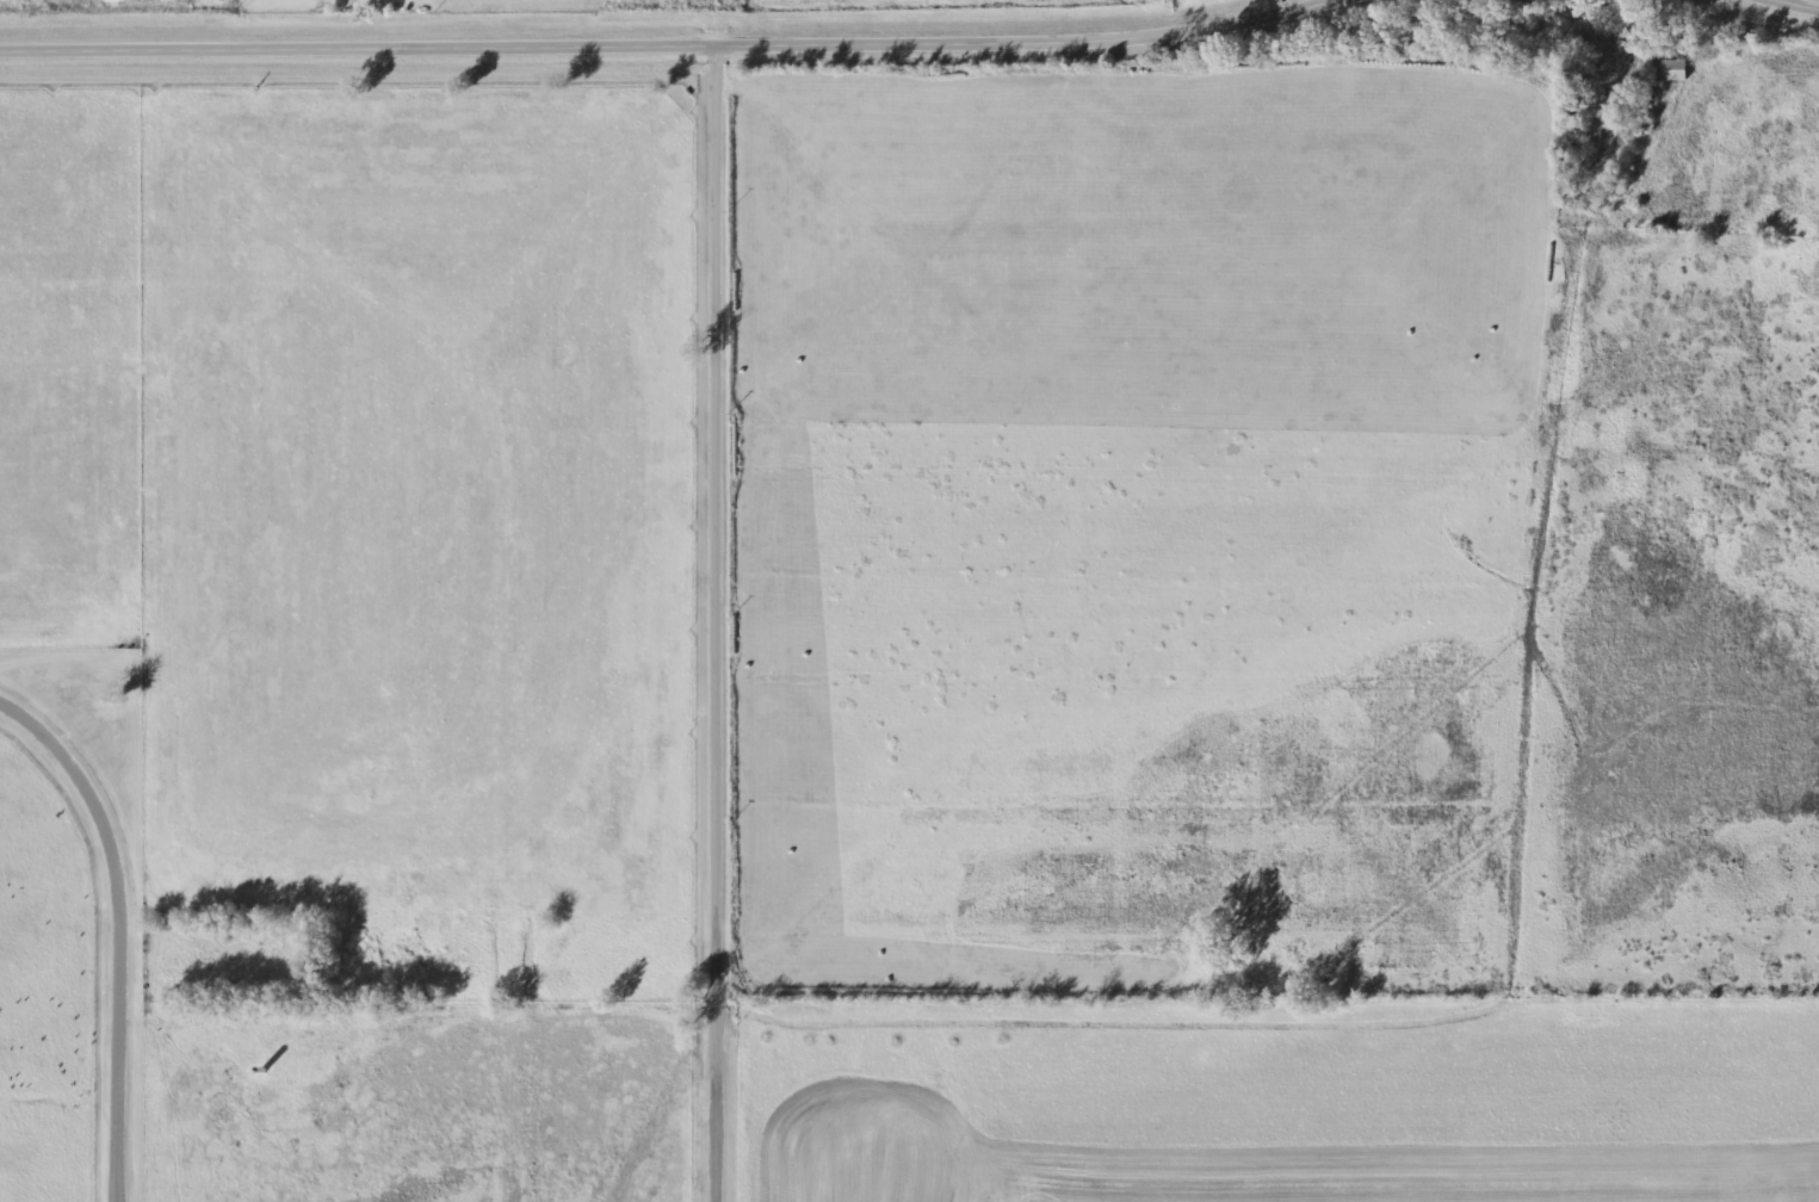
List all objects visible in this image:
road: (1795, 6)
road: (678, 45)
building: (1671, 72)
road: (718, 624)
road: (122, 928)

